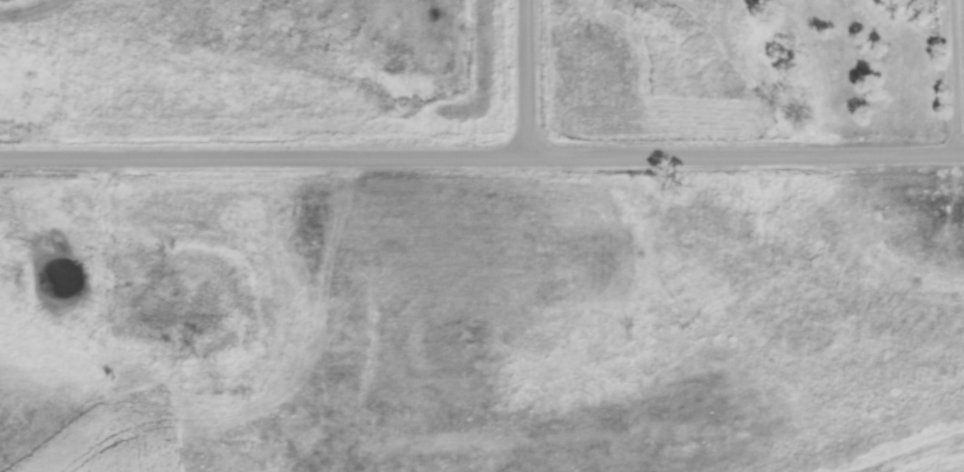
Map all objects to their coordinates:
road: (530, 78)
road: (482, 156)

